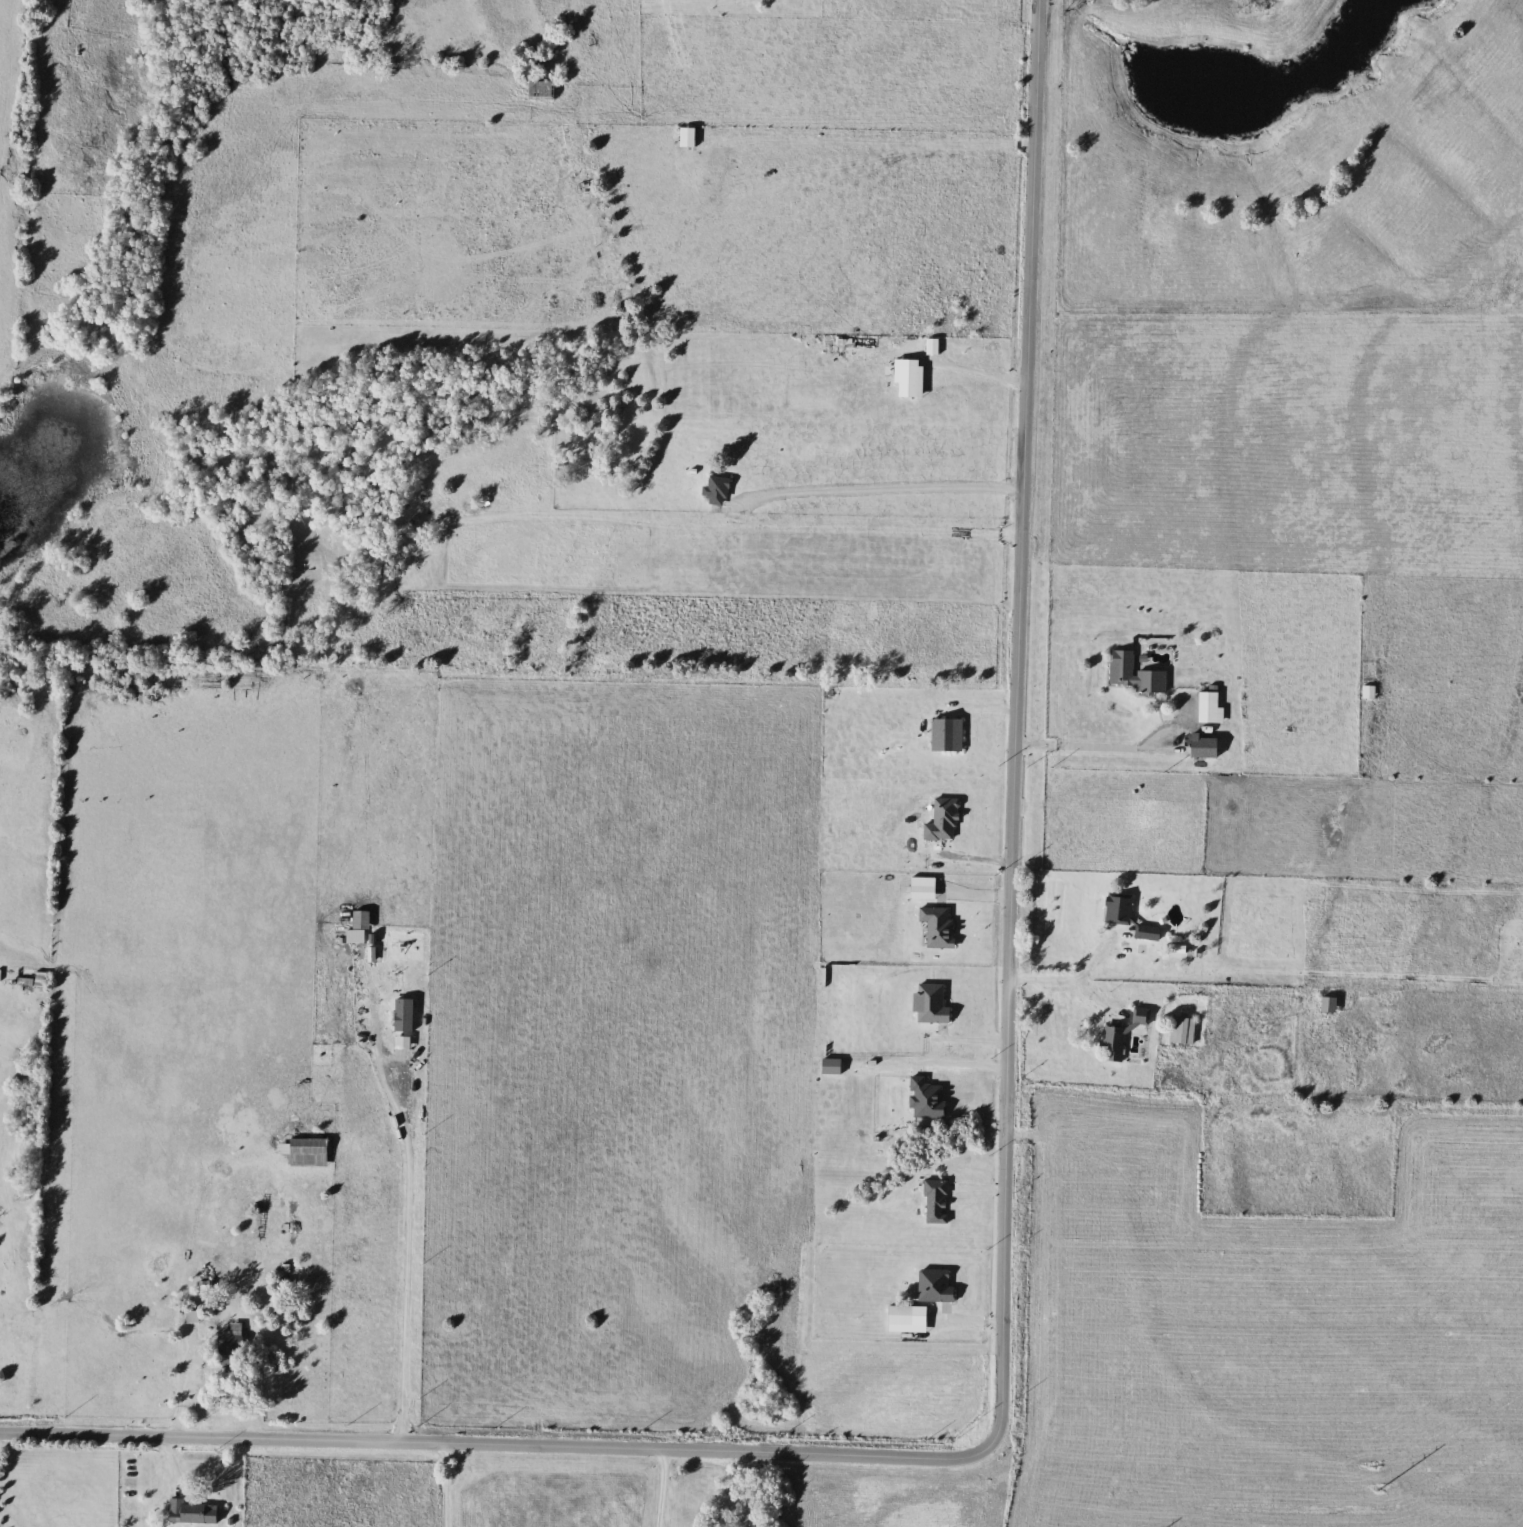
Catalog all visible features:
building: (544, 90)
building: (690, 137)
road: (877, 140)
road: (973, 371)
road: (879, 489)
building: (719, 491)
building: (1136, 674)
building: (1370, 692)
building: (1212, 708)
road: (1099, 738)
building: (1208, 747)
building: (1121, 910)
building: (1150, 934)
road: (1070, 977)
road: (1096, 998)
building: (1331, 1005)
building: (1185, 1031)
building: (1124, 1035)
road: (975, 1038)
road: (925, 1067)
building: (308, 1153)
road: (1003, 1221)
building: (294, 1224)
road: (404, 1252)
building: (232, 1345)
road: (178, 1390)
power tower: (1373, 1473)
road: (446, 1486)
road: (662, 1489)
building: (193, 1512)

